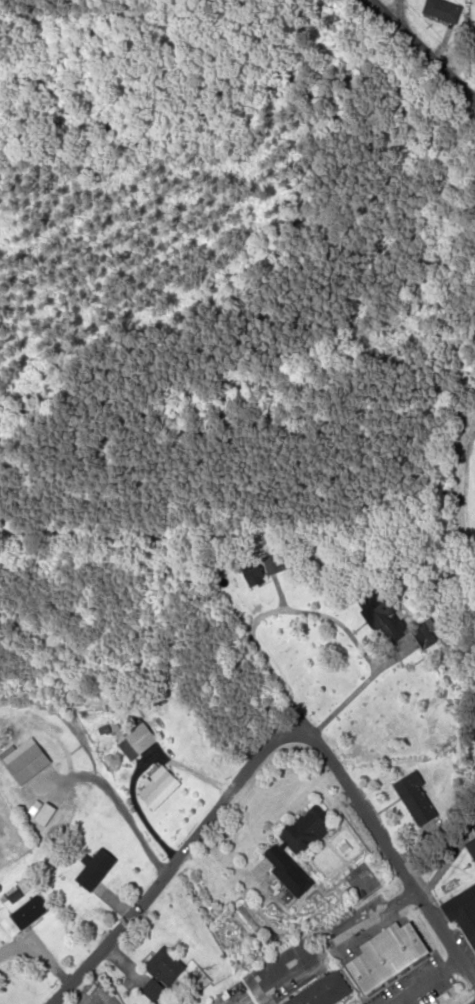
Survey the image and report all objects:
building: (444, 10)
road: (396, 11)
road: (421, 50)
building: (276, 565)
building: (256, 575)
building: (397, 621)
building: (135, 740)
building: (25, 762)
building: (158, 789)
building: (417, 799)
building: (298, 848)
building: (471, 848)
road: (388, 853)
road: (173, 862)
building: (95, 870)
building: (30, 912)
building: (463, 912)
building: (389, 958)
building: (161, 973)
building: (323, 992)

